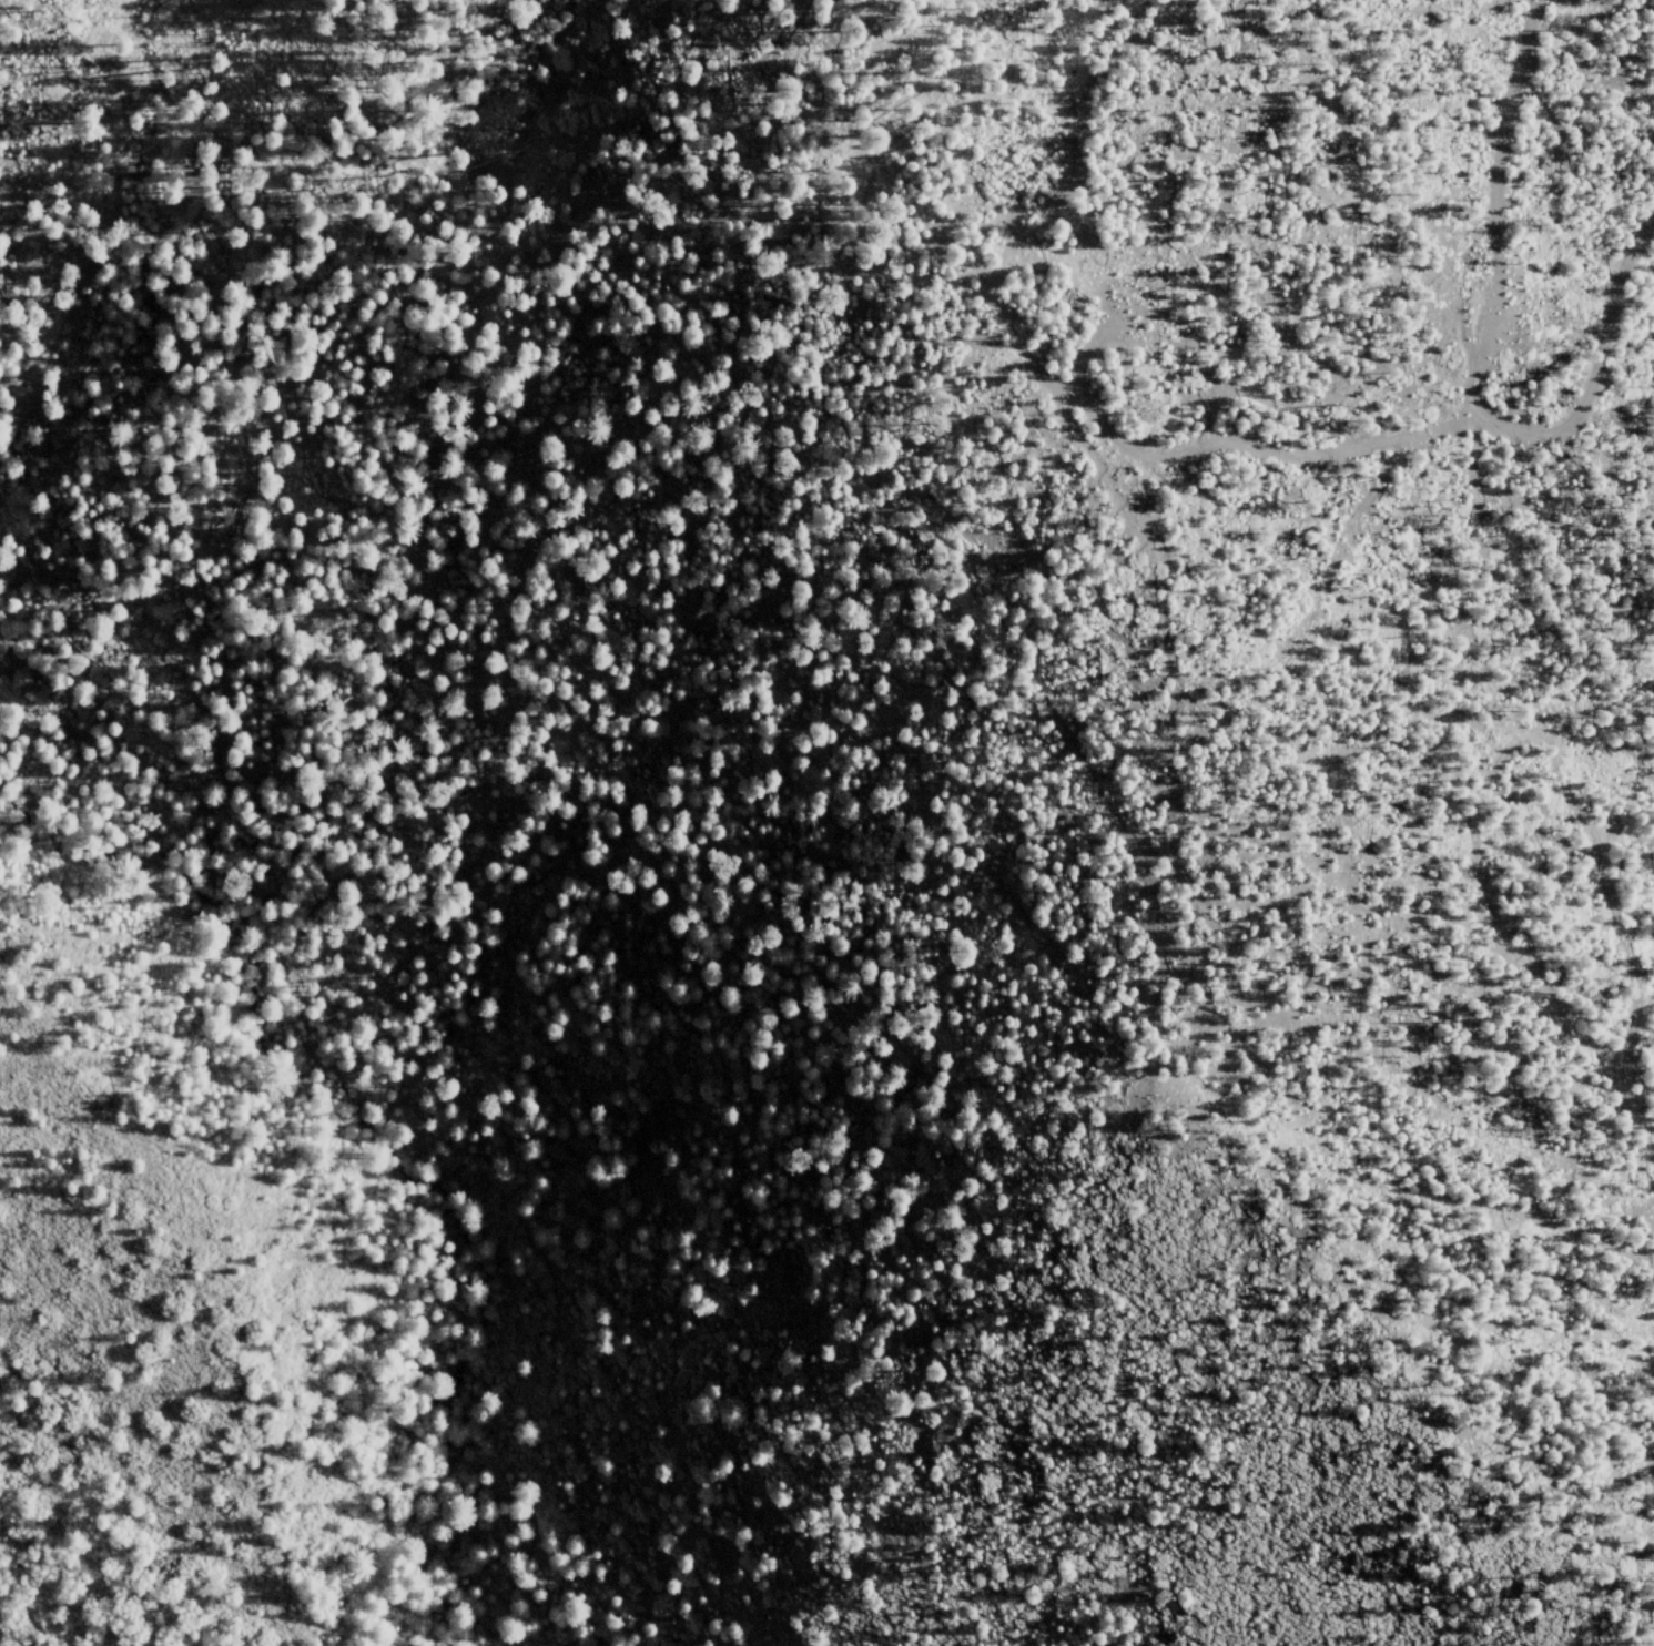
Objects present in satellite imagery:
road: (28, 1614)

